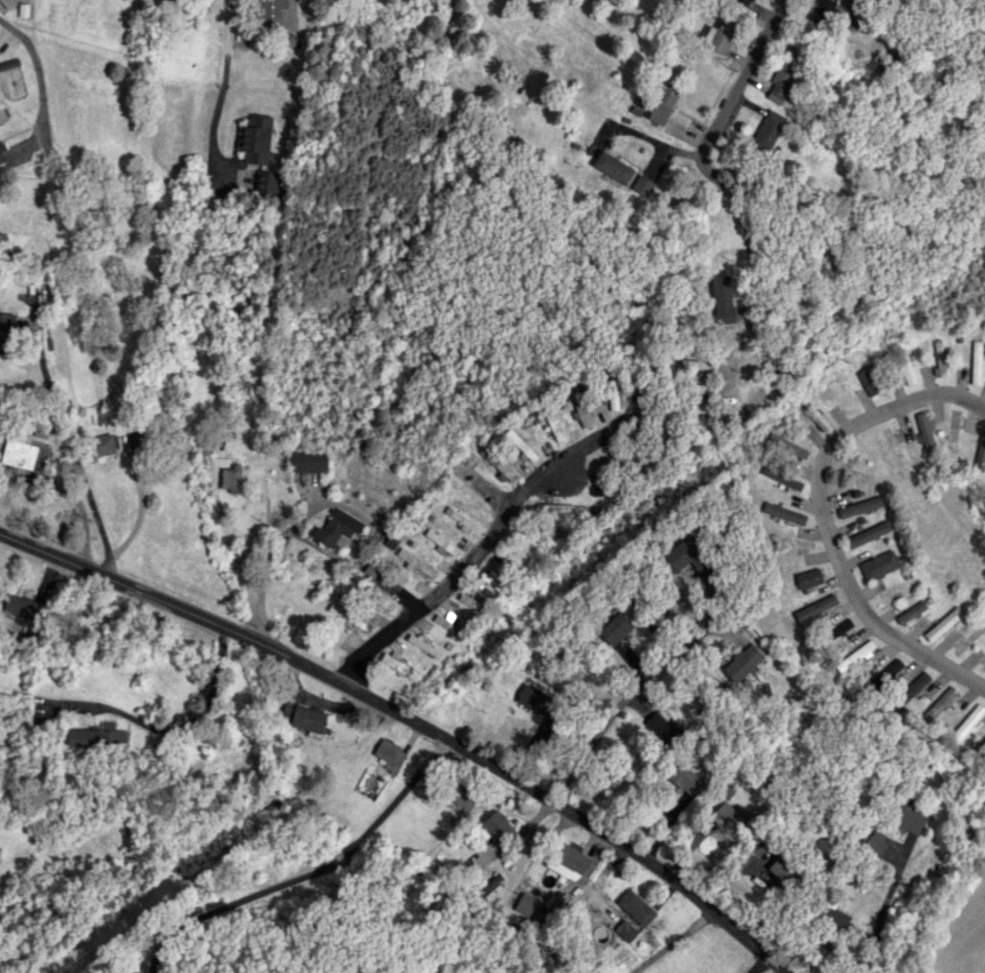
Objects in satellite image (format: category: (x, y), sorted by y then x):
building: (169, 0)
building: (747, 1)
building: (7, 3)
building: (821, 11)
building: (270, 12)
building: (856, 19)
building: (721, 35)
road: (223, 38)
building: (9, 63)
road: (748, 75)
building: (781, 79)
road: (40, 83)
building: (662, 106)
road: (209, 129)
building: (768, 129)
road: (650, 137)
building: (255, 139)
building: (1, 155)
building: (612, 167)
building: (269, 182)
building: (643, 185)
road: (750, 245)
building: (722, 299)
building: (5, 332)
building: (939, 358)
building: (975, 362)
building: (696, 364)
building: (905, 366)
building: (870, 380)
building: (703, 388)
building: (839, 395)
building: (578, 405)
building: (816, 417)
building: (553, 424)
building: (925, 431)
road: (70, 442)
building: (520, 444)
building: (101, 445)
building: (790, 447)
building: (18, 454)
building: (980, 454)
building: (307, 461)
building: (496, 463)
building: (231, 478)
building: (859, 506)
building: (554, 508)
building: (783, 513)
road: (825, 516)
building: (461, 520)
building: (337, 529)
building: (538, 530)
building: (867, 534)
building: (441, 543)
road: (476, 555)
building: (687, 556)
road: (234, 560)
building: (416, 562)
building: (879, 565)
road: (263, 566)
building: (808, 578)
building: (496, 585)
building: (896, 592)
building: (379, 602)
building: (473, 603)
building: (22, 607)
building: (815, 607)
building: (911, 612)
building: (943, 623)
building: (448, 625)
building: (615, 628)
building: (423, 645)
building: (854, 656)
building: (742, 662)
building: (398, 666)
building: (908, 692)
building: (538, 700)
road: (621, 702)
building: (938, 705)
building: (303, 716)
road: (190, 719)
road: (412, 720)
building: (966, 725)
building: (662, 728)
building: (97, 735)
building: (982, 746)
building: (390, 753)
building: (686, 779)
building: (462, 795)
building: (731, 815)
building: (909, 818)
building: (498, 827)
building: (874, 842)
building: (786, 871)
road: (308, 874)
building: (630, 902)
building: (527, 904)
road: (884, 907)
road: (673, 942)

